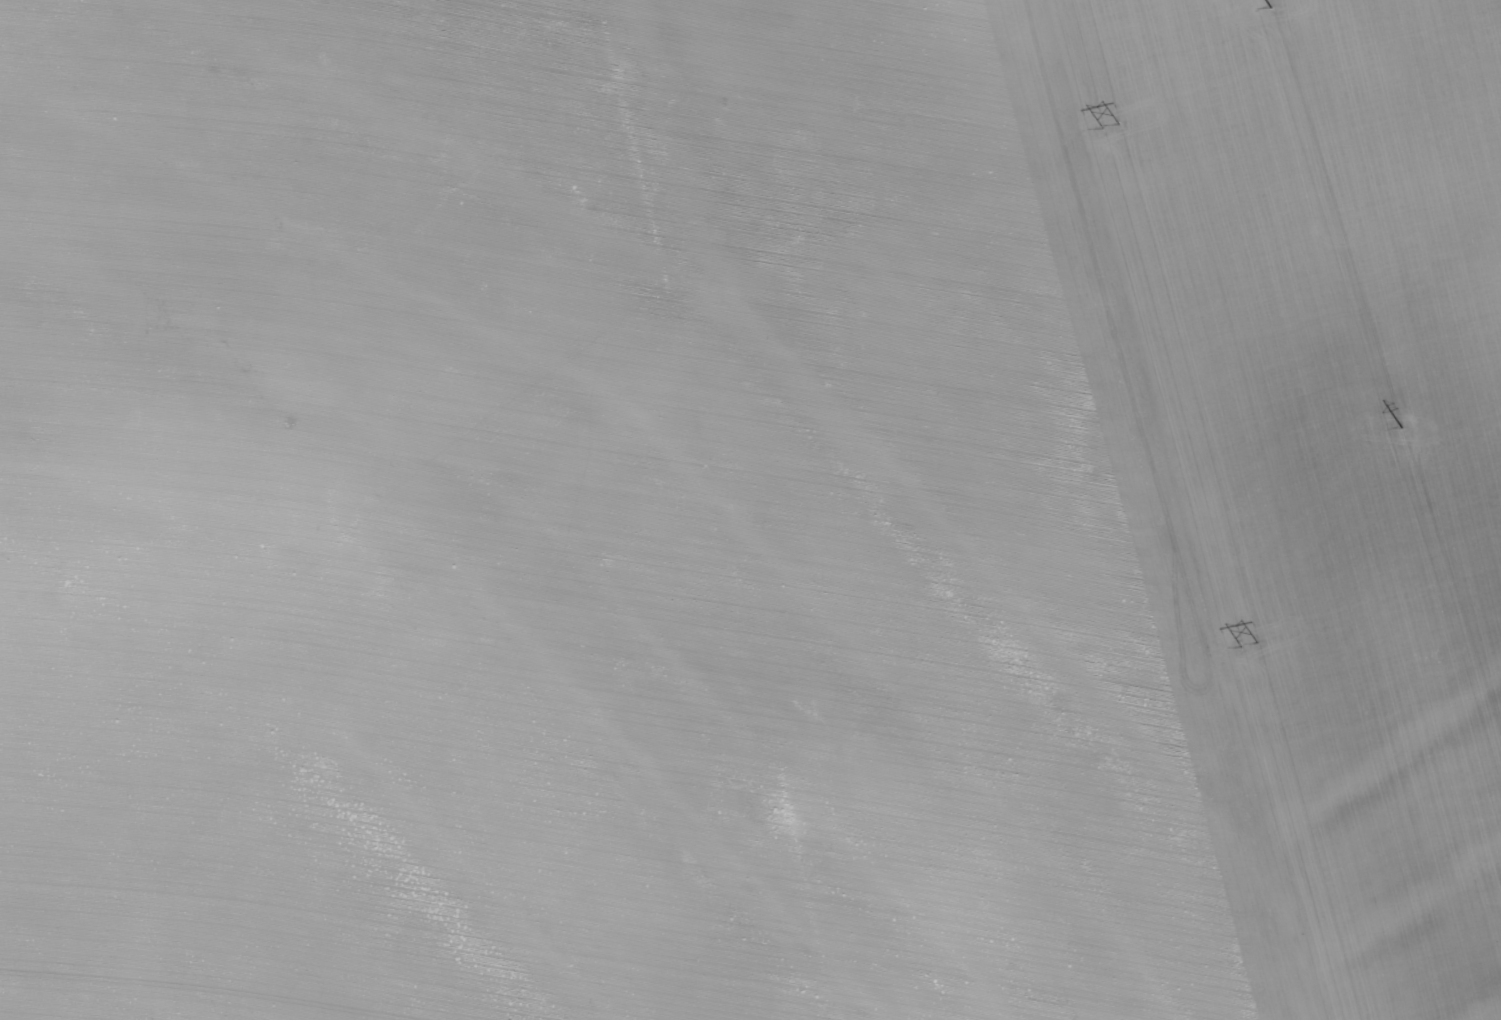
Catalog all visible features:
power tower: (1271, 9)
power tower: (1118, 125)
power tower: (1401, 429)
road: (1165, 512)
power tower: (1251, 644)

